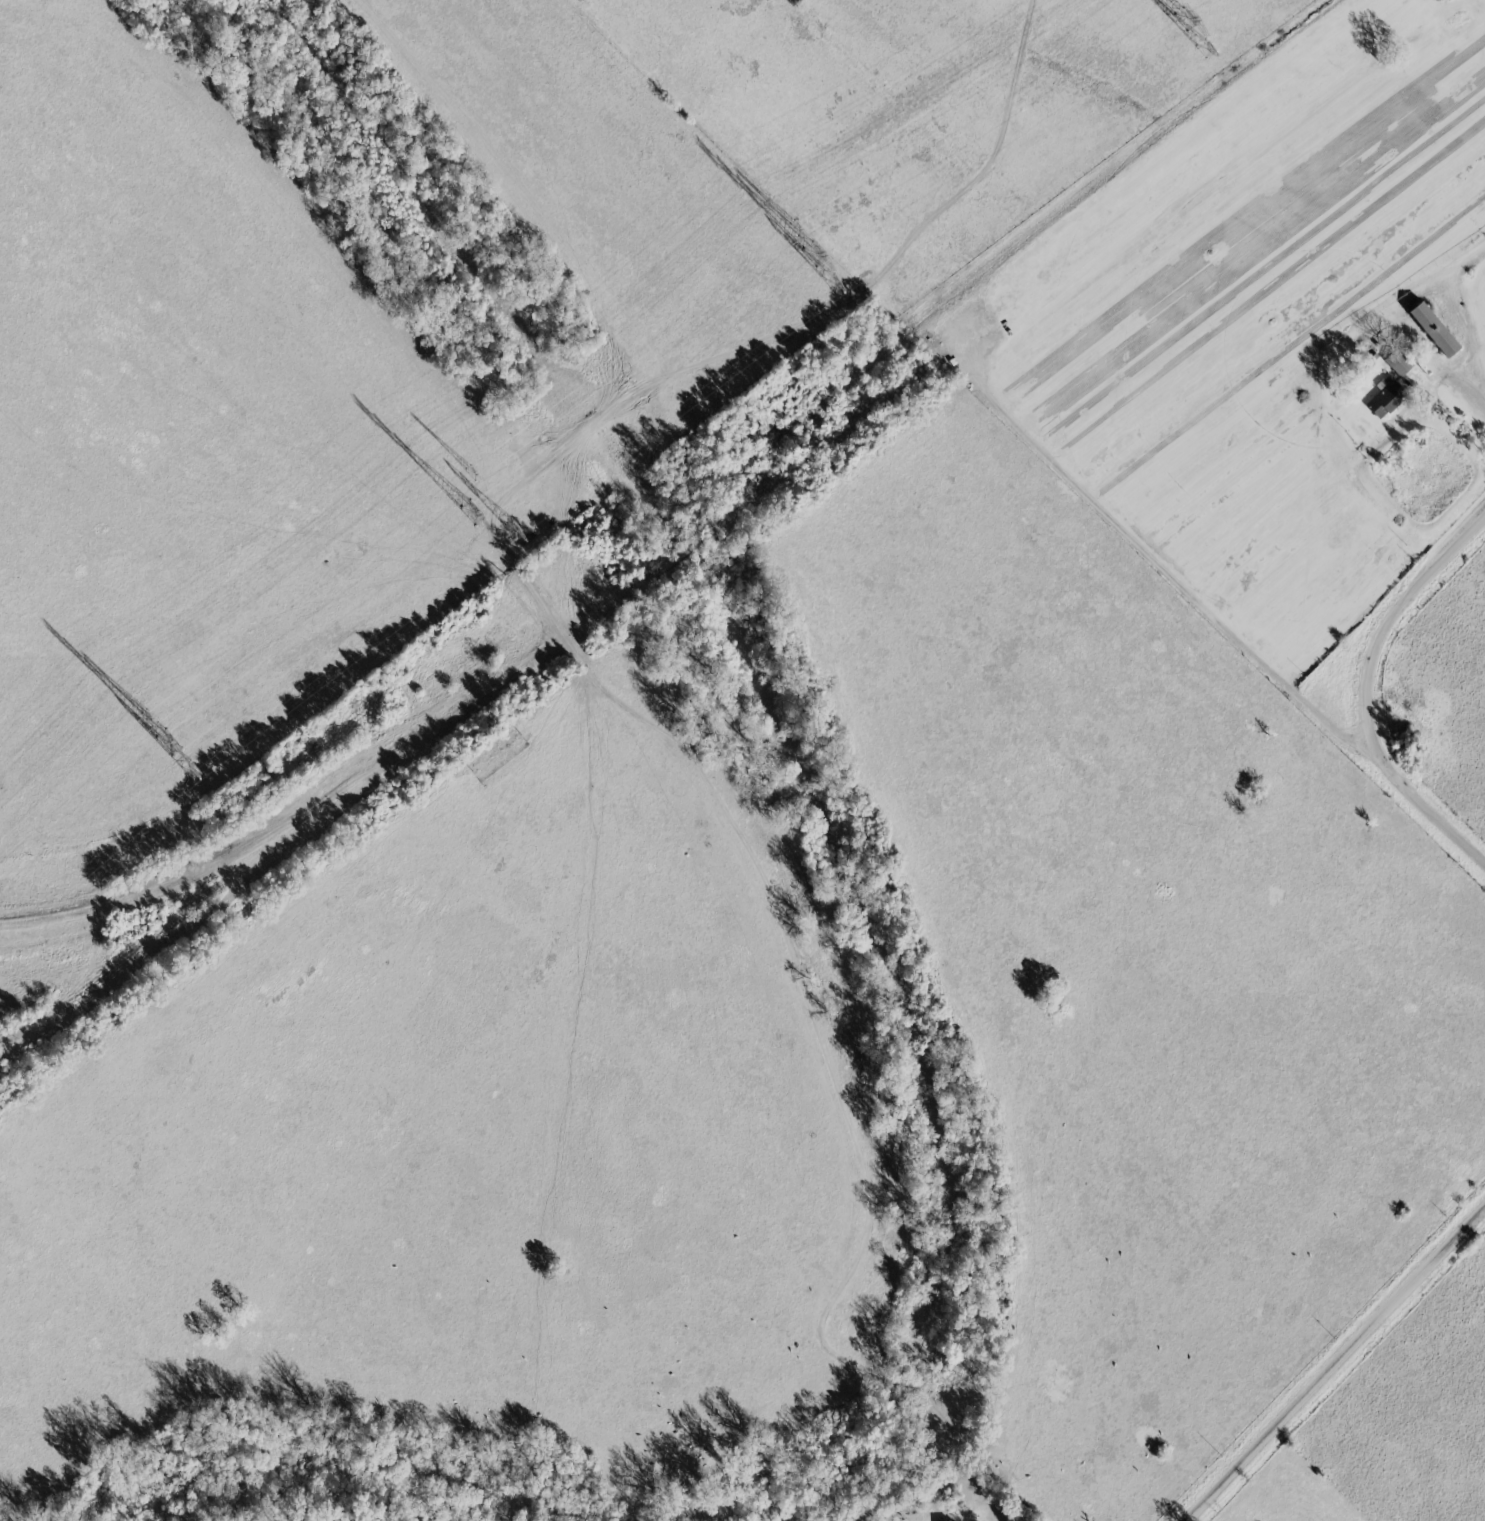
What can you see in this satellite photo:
power tower: (1185, 20)
power tower: (1203, 49)
power tower: (793, 229)
power tower: (814, 256)
power tower: (833, 284)
building: (1427, 329)
road: (969, 368)
road: (1337, 380)
building: (1379, 399)
power tower: (470, 474)
power tower: (472, 514)
power tower: (512, 530)
railway: (684, 533)
road: (1344, 689)
power tower: (145, 719)
power tower: (167, 744)
power tower: (189, 771)
railway: (206, 872)
road: (1334, 1364)
building: (949, 1520)

